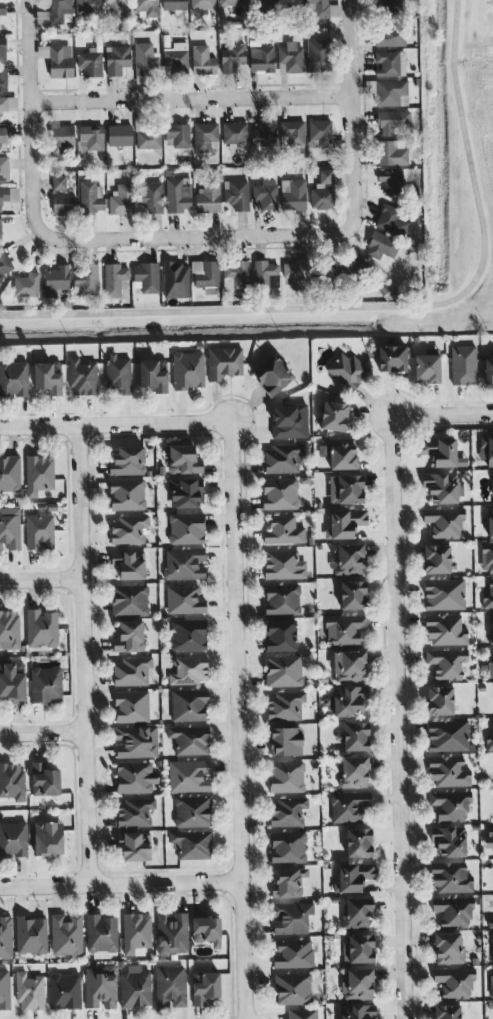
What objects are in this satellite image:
building: (231, 2)
building: (203, 3)
building: (260, 3)
building: (288, 3)
building: (387, 3)
building: (174, 4)
building: (2, 7)
building: (87, 7)
building: (118, 7)
building: (148, 7)
building: (323, 8)
building: (59, 10)
building: (389, 36)
building: (3, 49)
building: (316, 54)
building: (291, 56)
building: (176, 57)
building: (231, 57)
building: (261, 57)
building: (145, 58)
building: (57, 59)
building: (116, 59)
building: (202, 60)
building: (89, 62)
building: (390, 63)
building: (391, 92)
road: (190, 97)
building: (8, 103)
road: (351, 116)
road: (30, 121)
building: (392, 121)
building: (292, 131)
building: (3, 134)
building: (119, 134)
building: (178, 134)
building: (234, 134)
building: (263, 134)
building: (321, 134)
building: (204, 135)
building: (91, 136)
building: (62, 138)
building: (391, 152)
park: (463, 163)
building: (4, 167)
building: (389, 181)
building: (58, 182)
building: (323, 191)
building: (6, 193)
building: (178, 194)
building: (236, 194)
building: (266, 194)
building: (293, 194)
building: (90, 195)
building: (149, 197)
building: (208, 197)
building: (122, 199)
building: (63, 204)
building: (392, 222)
building: (0, 229)
road: (196, 237)
building: (381, 245)
building: (4, 263)
building: (205, 273)
building: (265, 273)
building: (296, 273)
building: (234, 275)
building: (146, 276)
building: (114, 279)
building: (175, 279)
building: (57, 281)
building: (87, 281)
building: (26, 284)
road: (480, 291)
road: (382, 304)
building: (392, 358)
building: (224, 362)
building: (463, 364)
building: (427, 367)
building: (188, 369)
building: (347, 369)
building: (488, 370)
building: (117, 373)
building: (153, 374)
building: (272, 374)
building: (48, 376)
building: (82, 376)
building: (13, 378)
building: (334, 415)
building: (289, 421)
road: (115, 424)
building: (486, 449)
building: (441, 451)
building: (339, 452)
building: (283, 458)
building: (183, 459)
building: (127, 460)
building: (9, 473)
building: (39, 473)
building: (442, 487)
building: (346, 488)
building: (186, 492)
building: (279, 493)
building: (127, 494)
building: (444, 521)
building: (344, 523)
building: (186, 527)
building: (9, 528)
building: (128, 529)
building: (39, 530)
building: (283, 530)
building: (486, 556)
building: (347, 558)
building: (436, 558)
building: (129, 563)
building: (184, 563)
building: (283, 564)
road: (39, 579)
building: (444, 593)
building: (352, 594)
building: (489, 594)
building: (282, 598)
building: (129, 599)
building: (184, 599)
building: (491, 627)
building: (41, 628)
building: (345, 628)
building: (9, 629)
building: (445, 629)
building: (188, 634)
building: (280, 634)
building: (129, 636)
road: (80, 654)
building: (446, 662)
building: (349, 664)
road: (395, 665)
building: (188, 669)
building: (490, 669)
building: (131, 670)
building: (283, 670)
building: (13, 682)
building: (46, 684)
building: (440, 699)
building: (347, 700)
building: (189, 704)
building: (285, 705)
building: (131, 706)
road: (236, 719)
road: (41, 732)
building: (356, 735)
building: (448, 735)
building: (189, 739)
building: (489, 739)
building: (285, 740)
building: (136, 741)
building: (353, 771)
building: (448, 771)
building: (189, 775)
building: (135, 776)
building: (286, 776)
building: (44, 779)
building: (12, 780)
building: (451, 804)
building: (349, 806)
building: (192, 810)
building: (134, 811)
building: (287, 811)
building: (489, 836)
building: (13, 838)
building: (48, 838)
building: (449, 840)
building: (358, 842)
building: (192, 844)
building: (134, 846)
building: (288, 846)
building: (353, 876)
building: (451, 877)
road: (119, 882)
building: (288, 882)
building: (453, 910)
building: (357, 912)
building: (291, 917)
building: (490, 922)
building: (206, 929)
building: (136, 933)
building: (171, 933)
building: (31, 934)
building: (66, 934)
building: (101, 935)
building: (5, 936)
building: (492, 945)
building: (448, 947)
building: (360, 948)
building: (292, 953)
building: (454, 981)
building: (357, 983)
building: (170, 985)
building: (491, 985)
building: (204, 986)
building: (4, 988)
building: (135, 988)
building: (293, 988)
building: (64, 990)
building: (29, 991)
building: (357, 1011)
building: (447, 1011)
building: (302, 1013)

